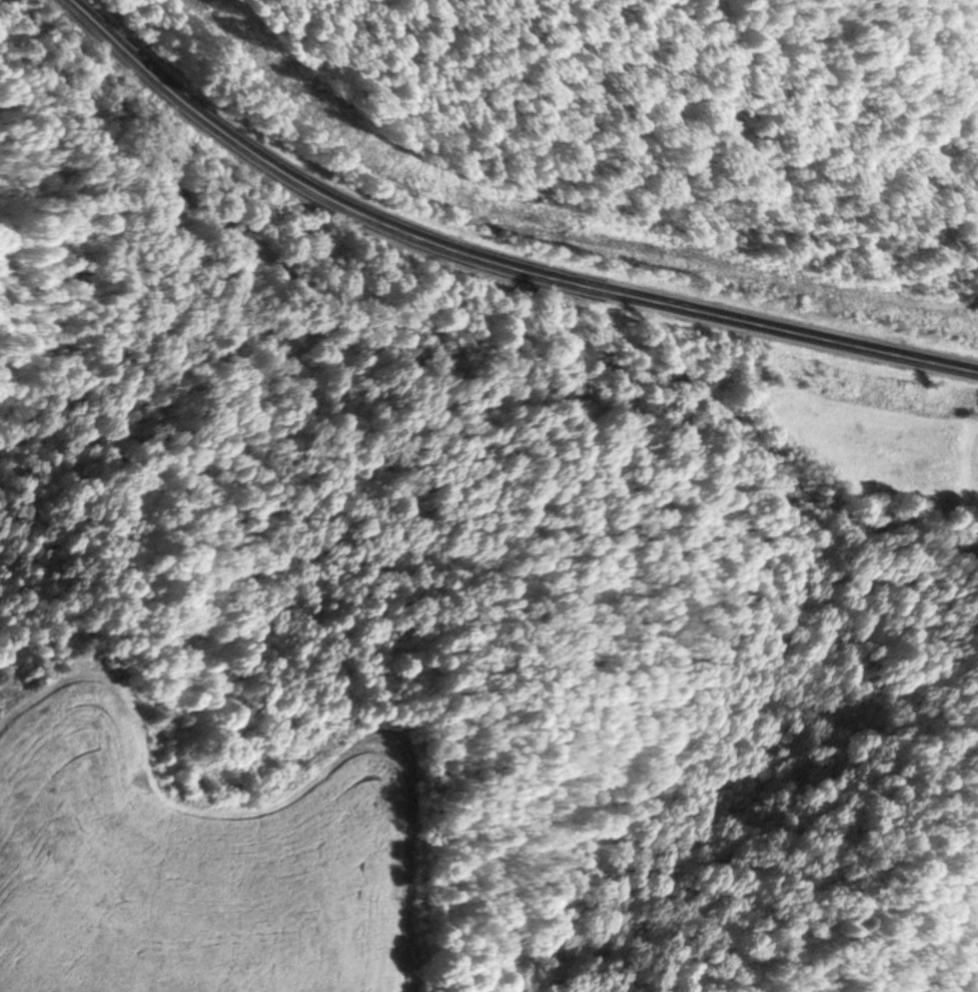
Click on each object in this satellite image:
road: (310, 189)
road: (789, 333)

